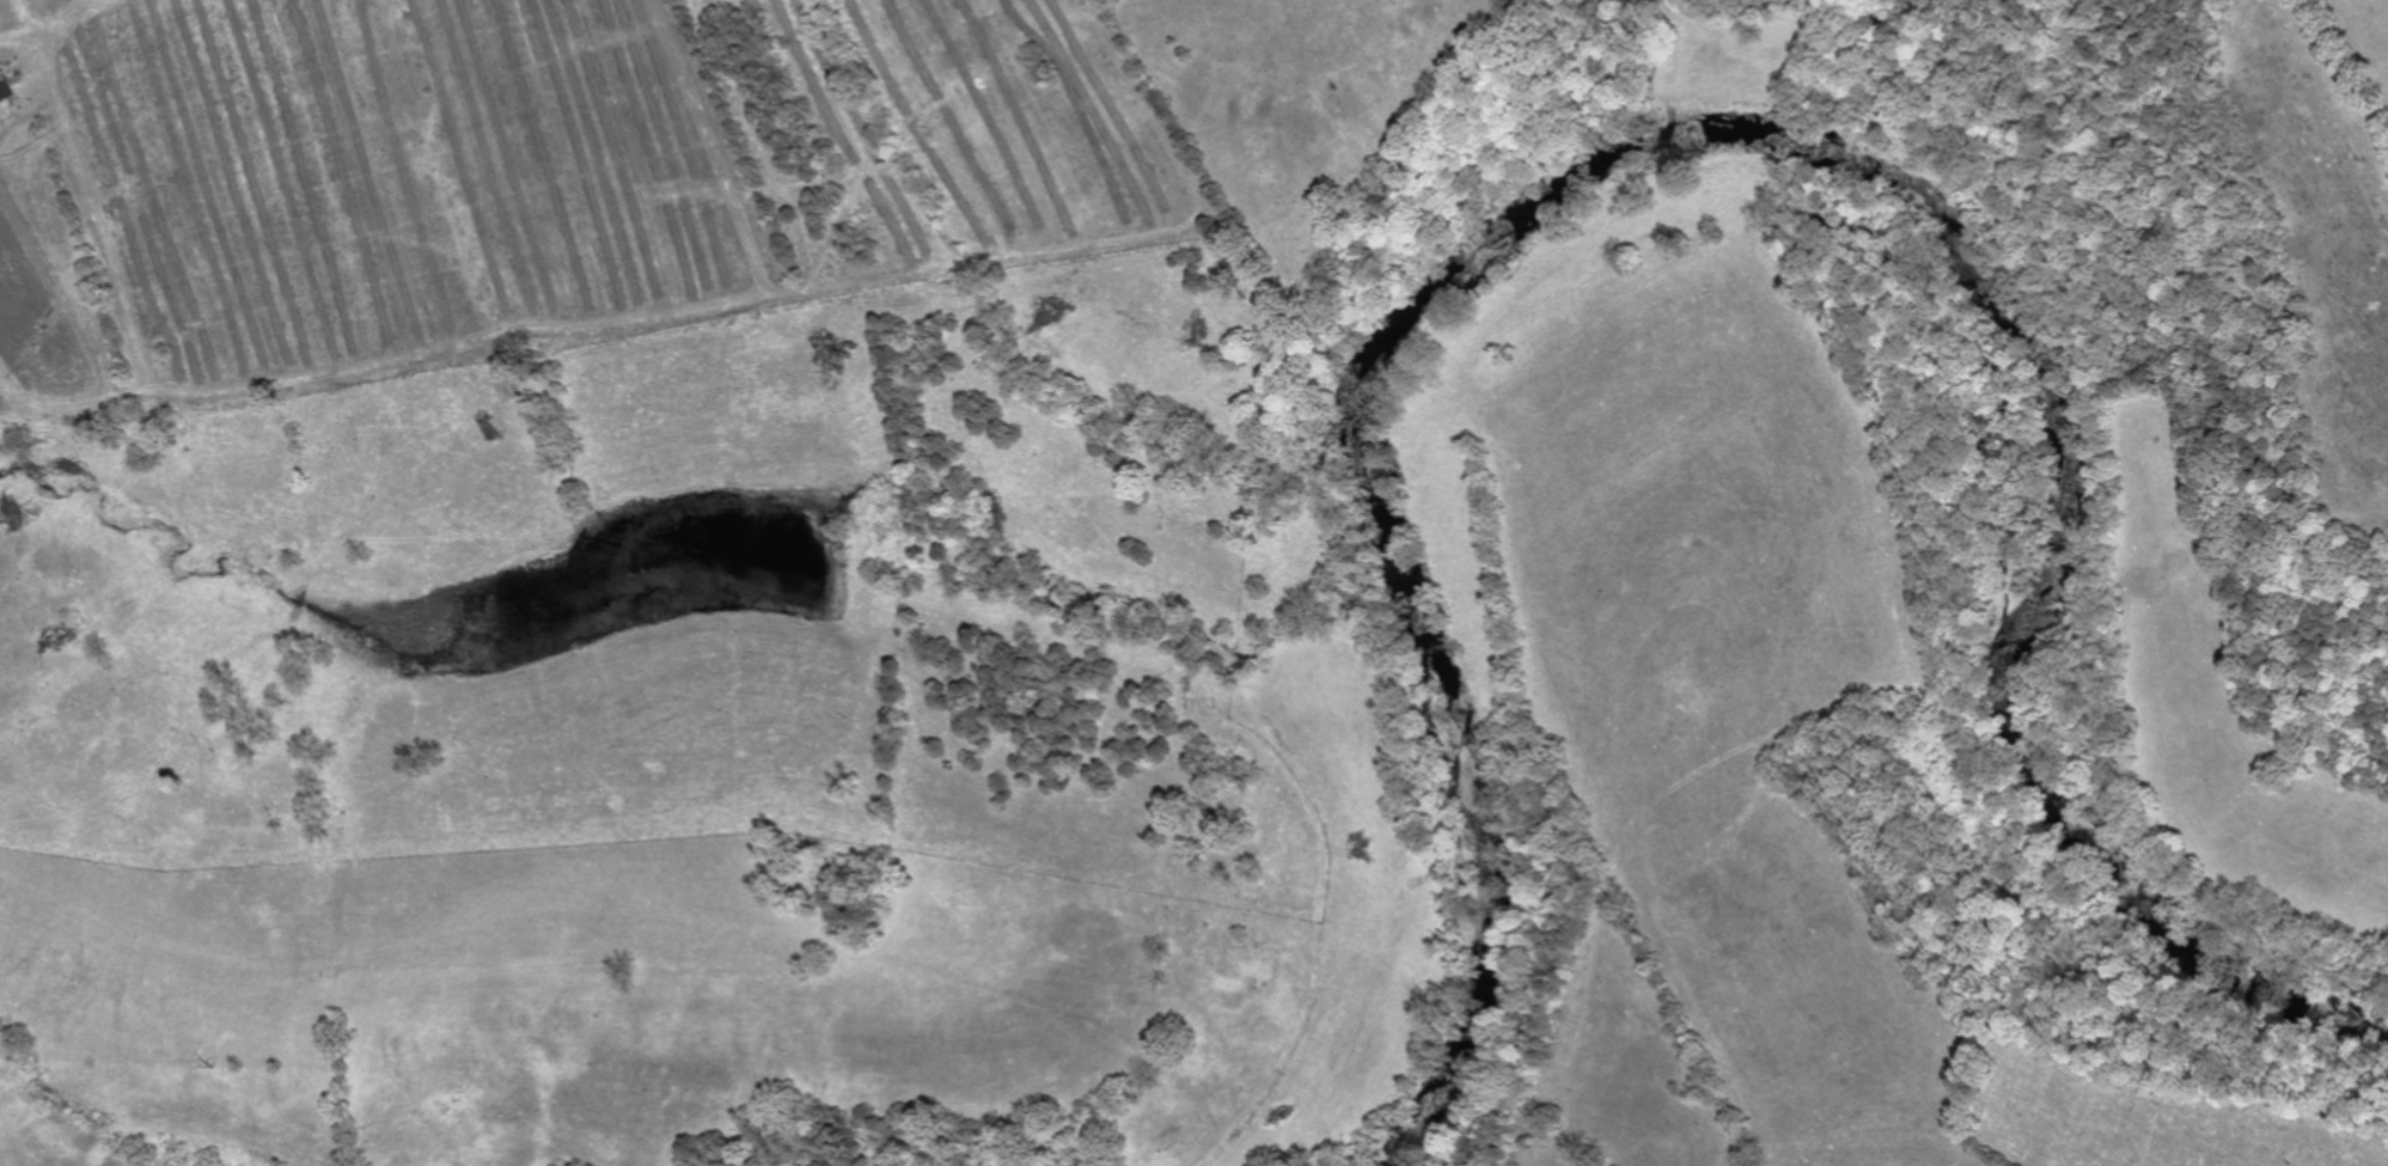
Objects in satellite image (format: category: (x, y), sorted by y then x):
building: (4, 91)

